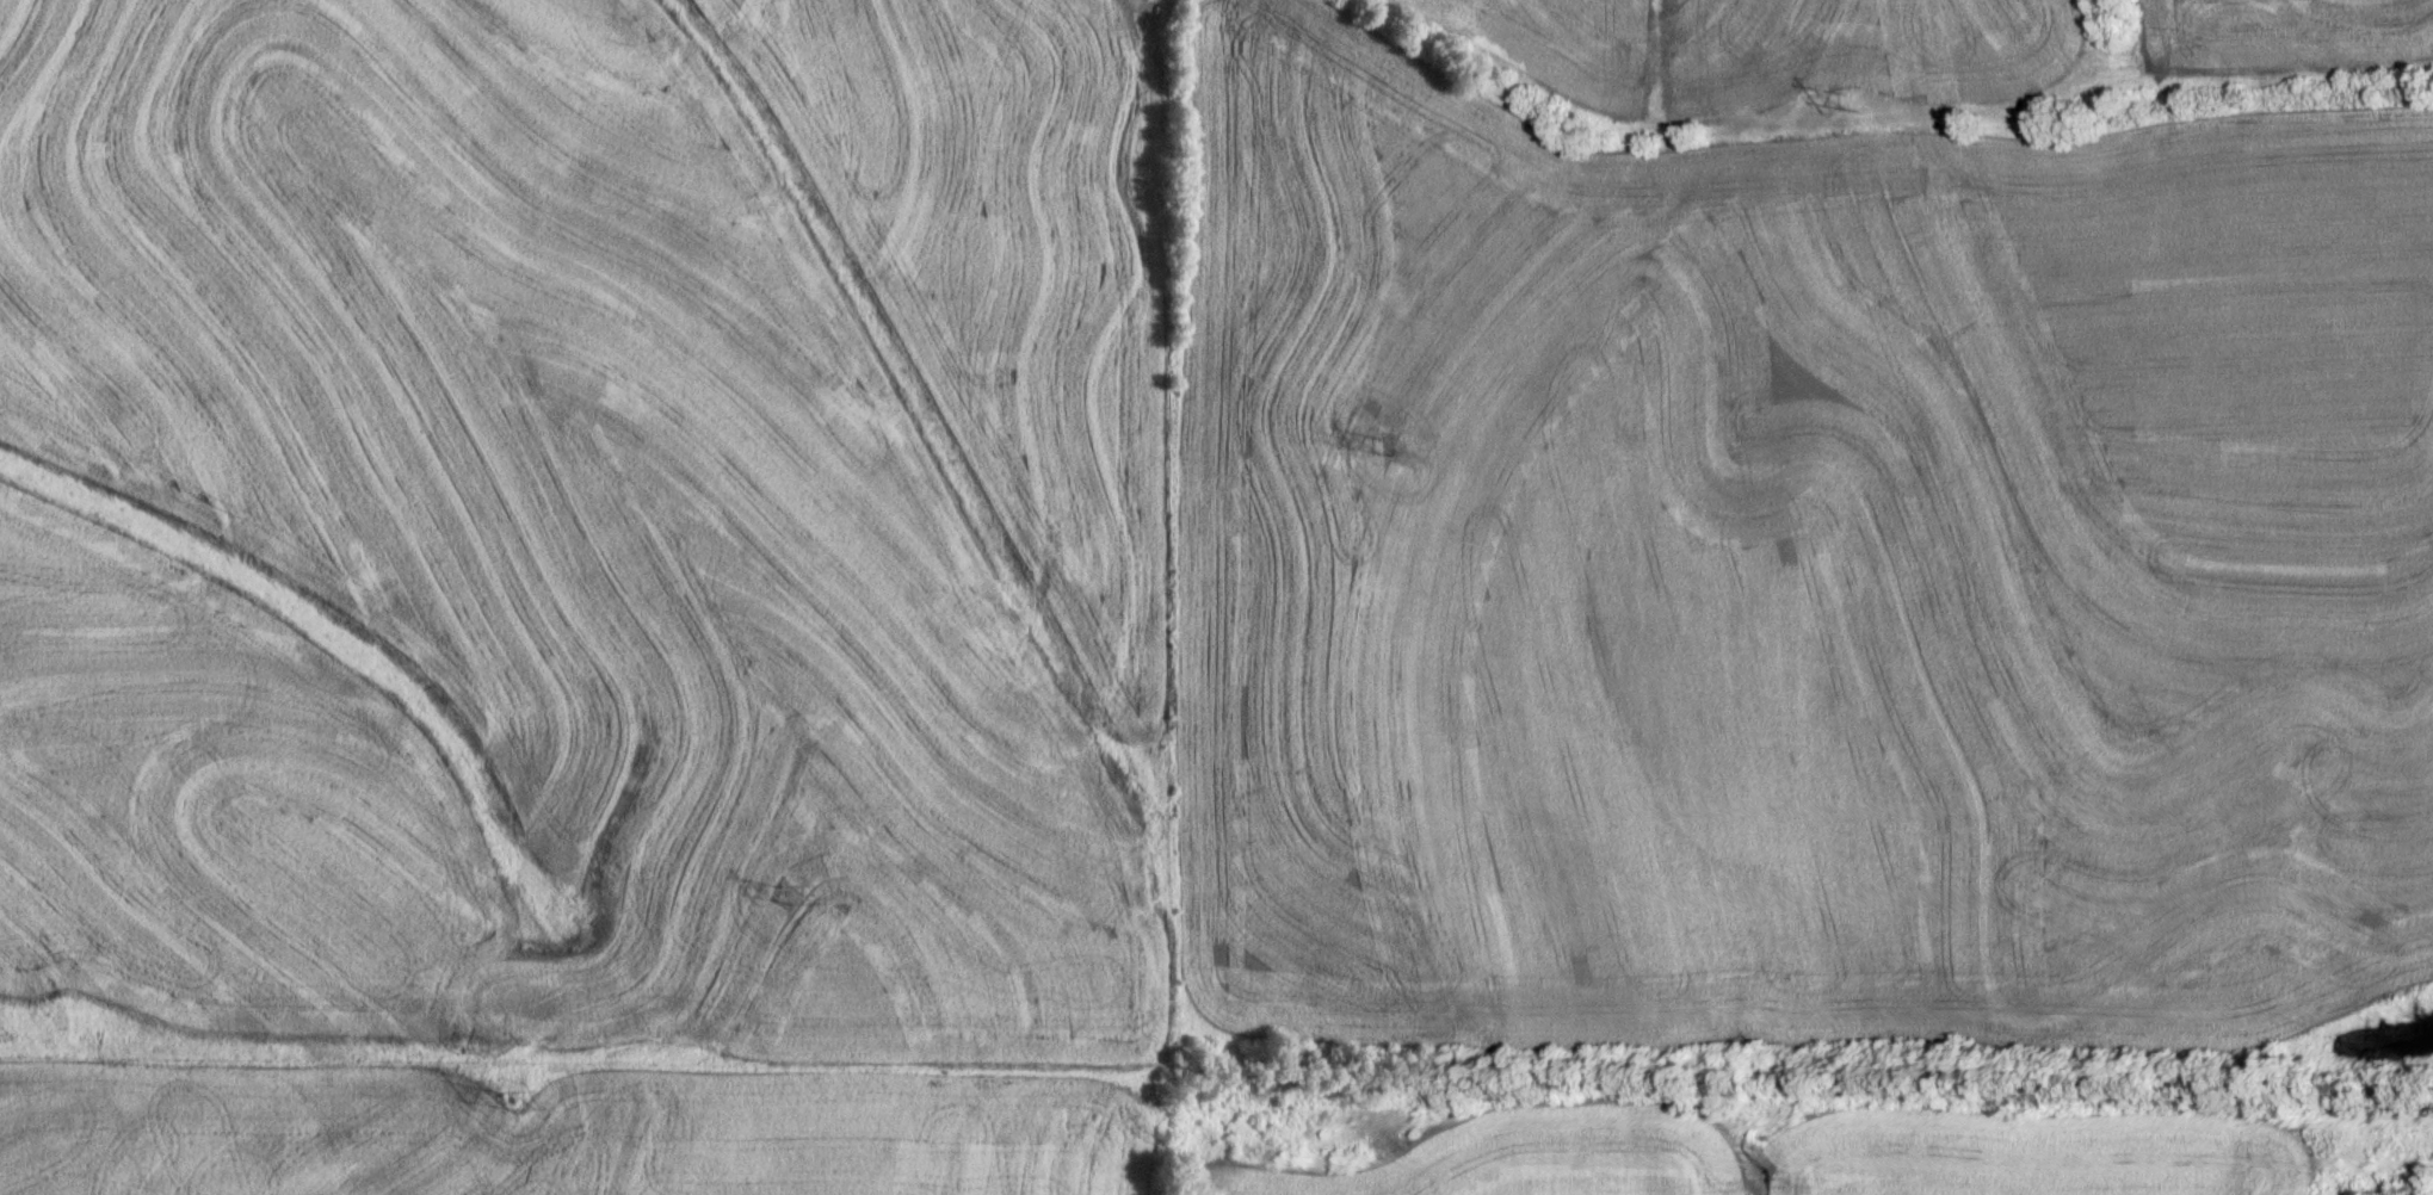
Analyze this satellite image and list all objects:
power tower: (1846, 100)
power tower: (1391, 445)
power tower: (783, 892)
power tower: (513, 1098)

